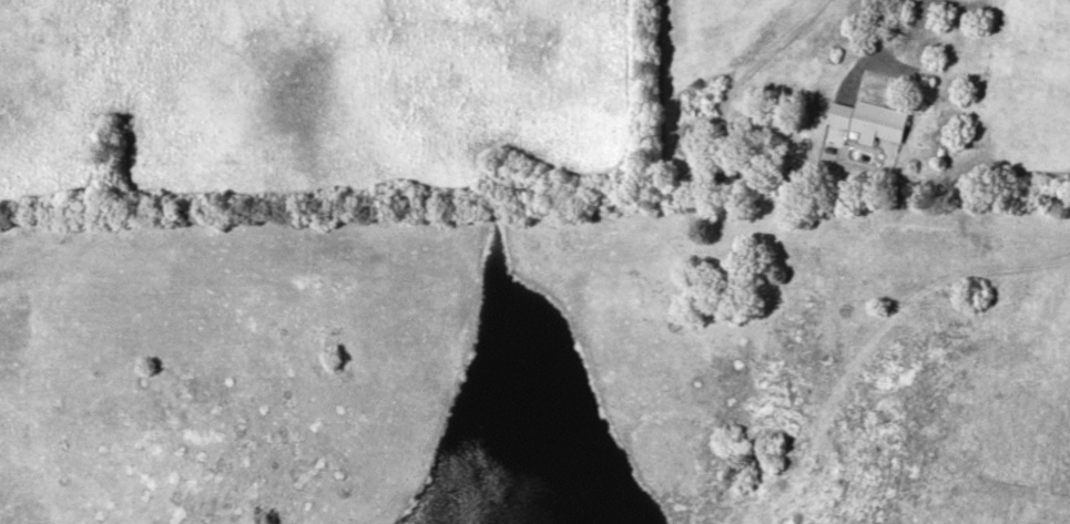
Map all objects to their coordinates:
building: (869, 119)

